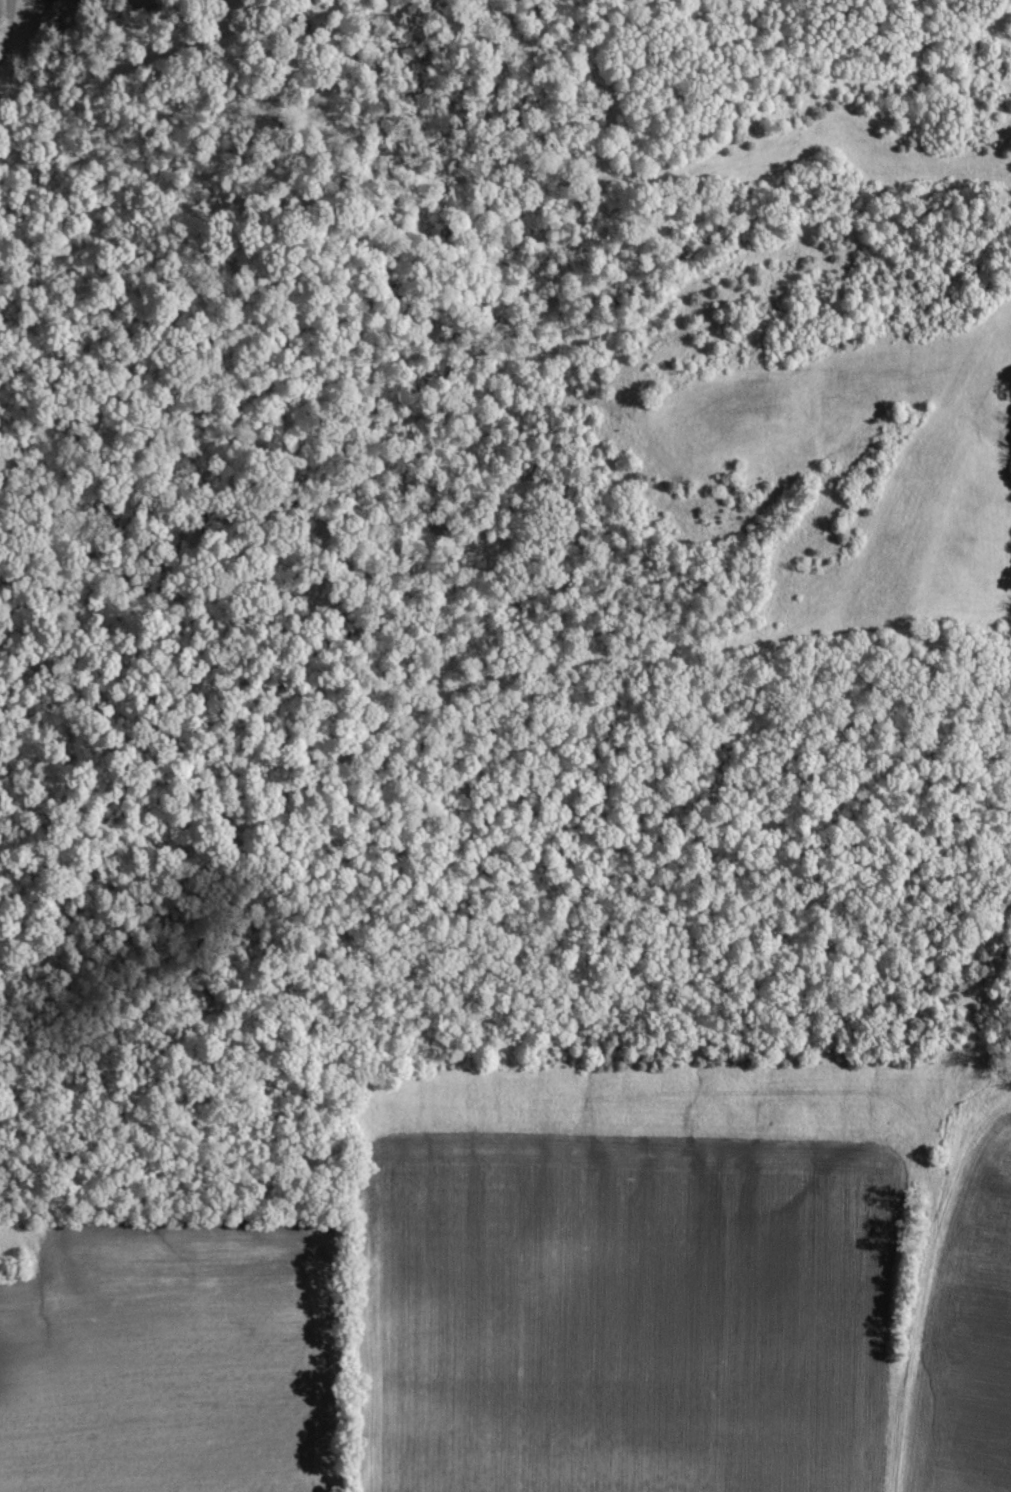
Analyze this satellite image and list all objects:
road: (11, 34)

